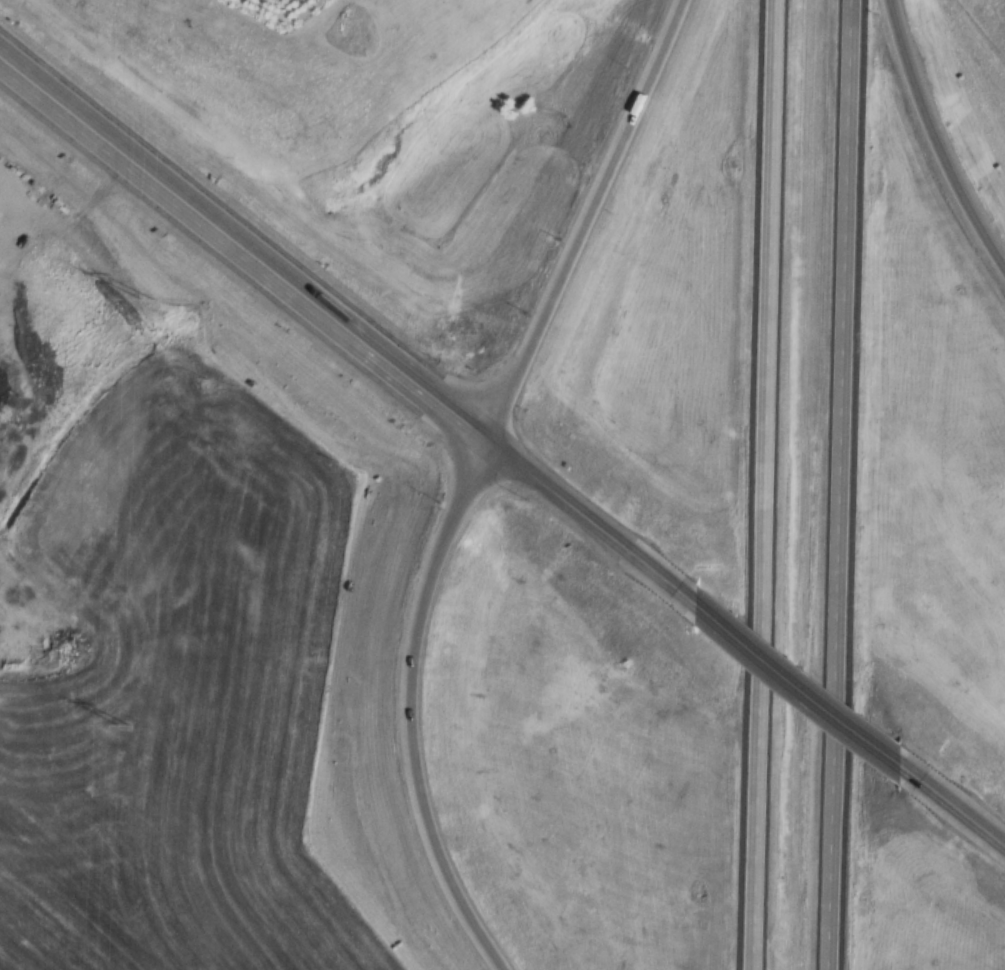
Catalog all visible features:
road: (940, 128)
road: (587, 214)
road: (236, 247)
power tower: (142, 298)
street lamp: (443, 477)
road: (768, 485)
road: (846, 485)
road: (597, 514)
road: (807, 680)
road: (406, 702)
power tower: (116, 724)
road: (954, 797)

